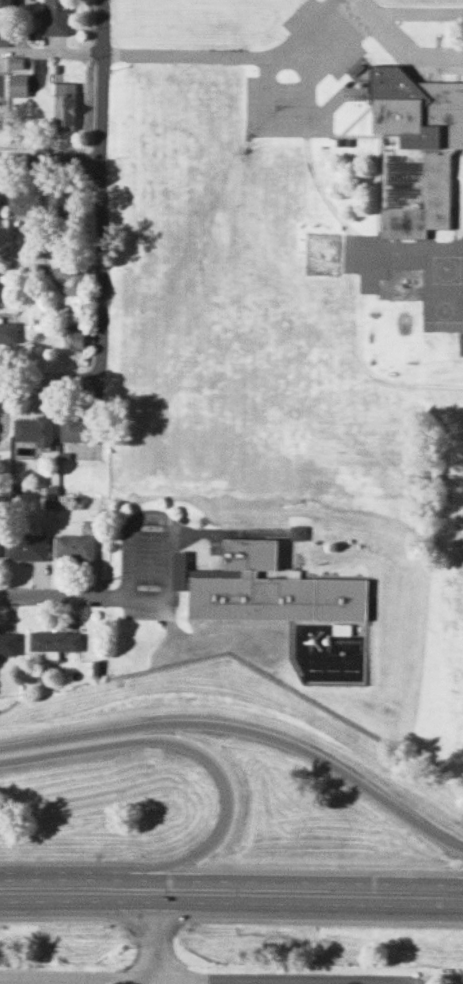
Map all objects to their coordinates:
building: (8, 3)
road: (364, 5)
building: (56, 17)
road: (376, 17)
road: (51, 48)
road: (229, 56)
parking lot: (297, 74)
building: (19, 86)
building: (65, 106)
building: (415, 148)
road: (50, 160)
road: (100, 188)
building: (27, 202)
building: (63, 209)
road: (50, 267)
building: (8, 331)
building: (75, 337)
road: (49, 377)
building: (76, 428)
building: (33, 429)
building: (26, 546)
building: (74, 547)
building: (251, 554)
building: (180, 569)
road: (105, 591)
building: (279, 597)
building: (55, 640)
building: (9, 643)
road: (246, 729)
road: (218, 770)
road: (231, 879)
road: (231, 900)
road: (187, 912)
road: (115, 913)
road: (152, 963)
building: (462, 976)
road: (75, 979)
road: (283, 980)
road: (64, 981)
road: (238, 981)

